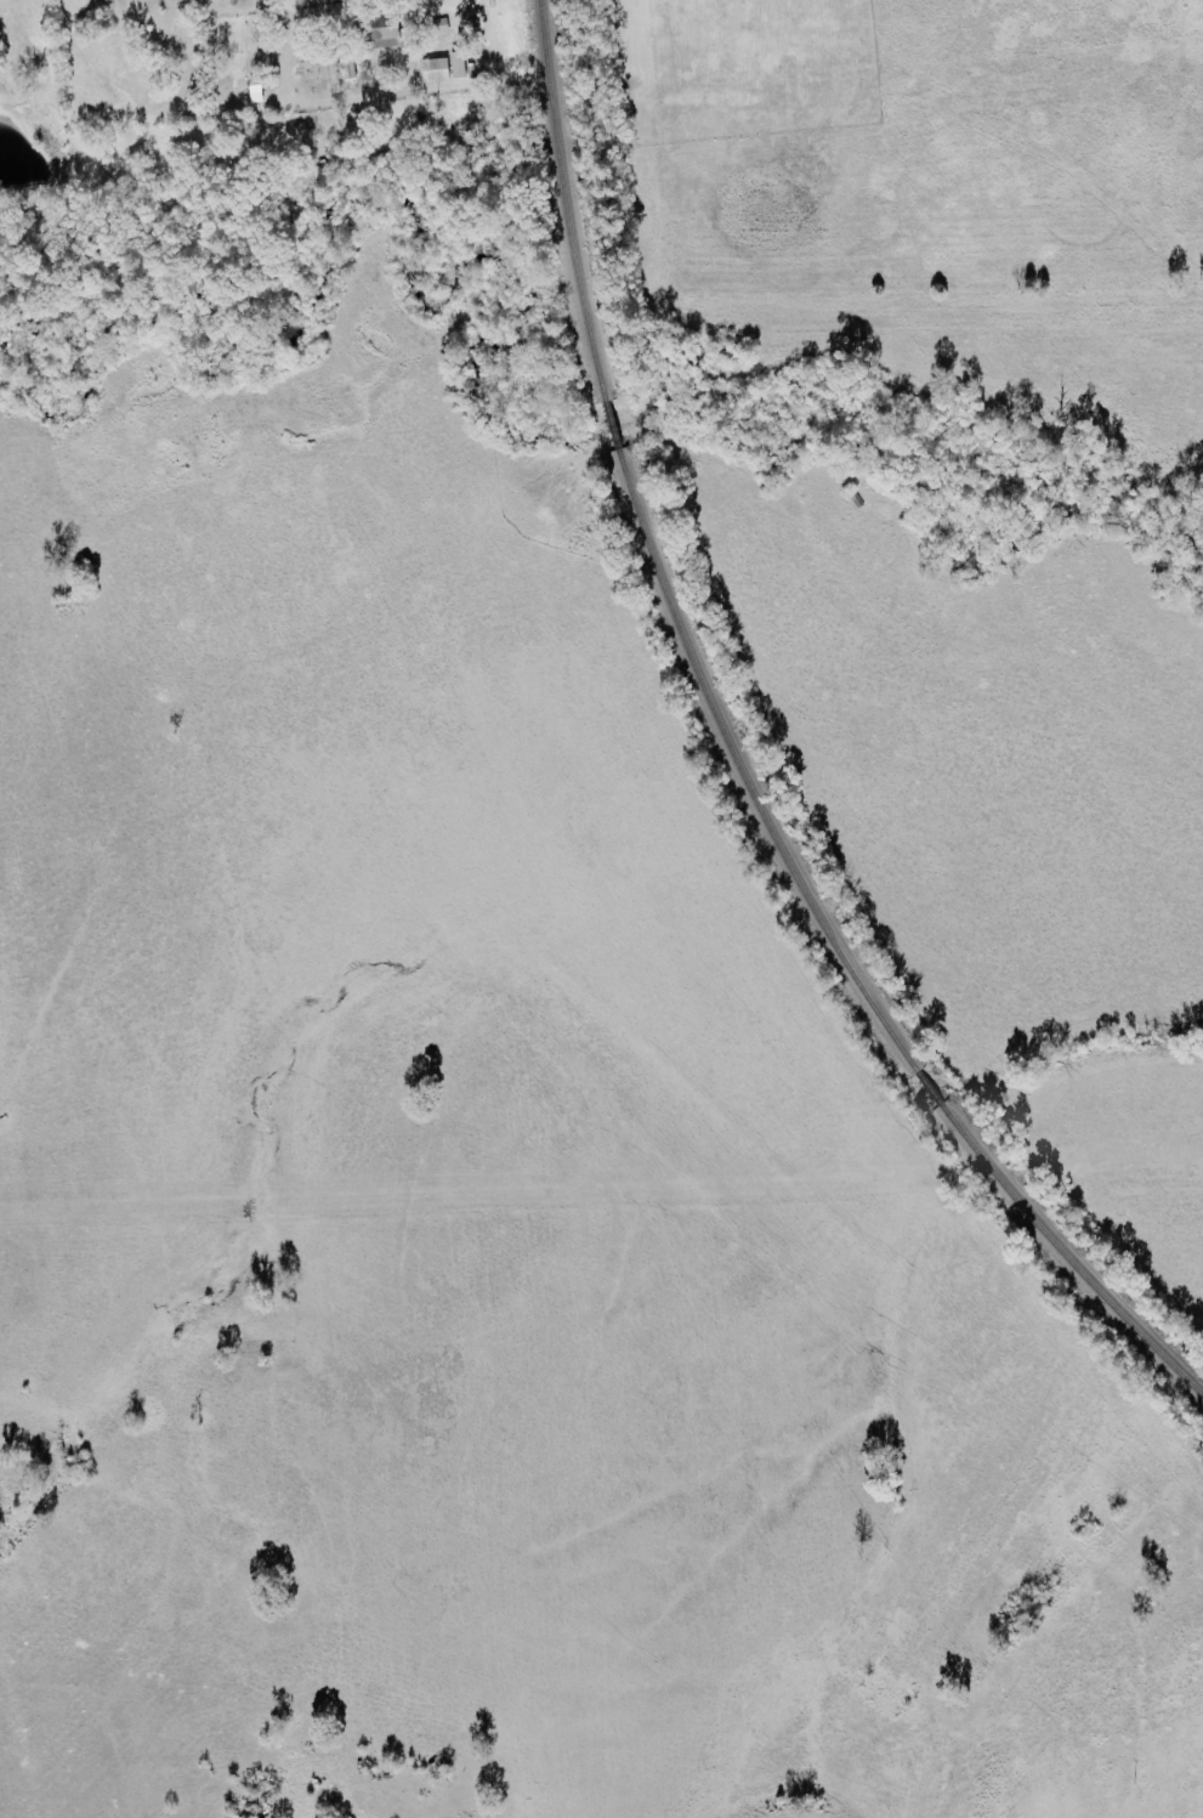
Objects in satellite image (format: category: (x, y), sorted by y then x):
building: (385, 30)
building: (436, 69)
railway: (562, 199)
railway: (611, 425)
railway: (740, 772)
railway: (929, 1088)
railway: (1065, 1257)

